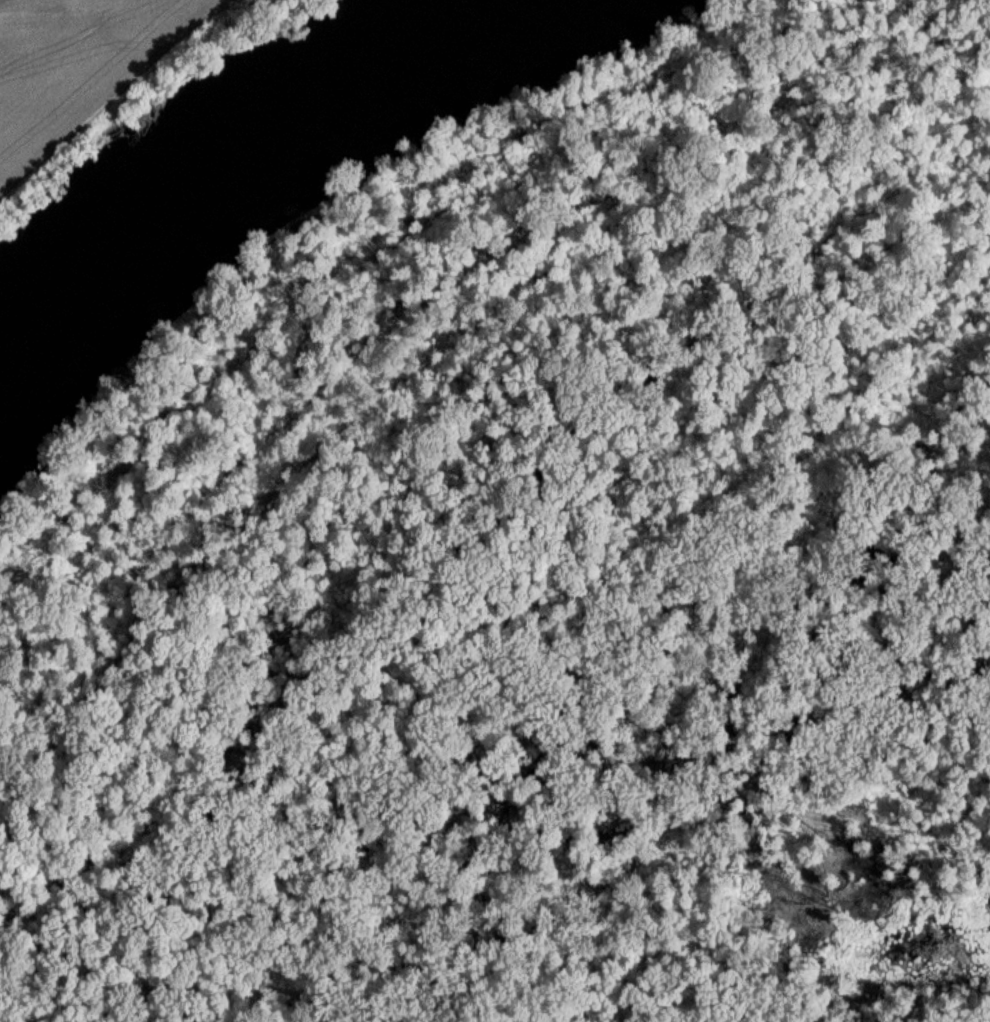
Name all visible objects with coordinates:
river: (225, 149)

